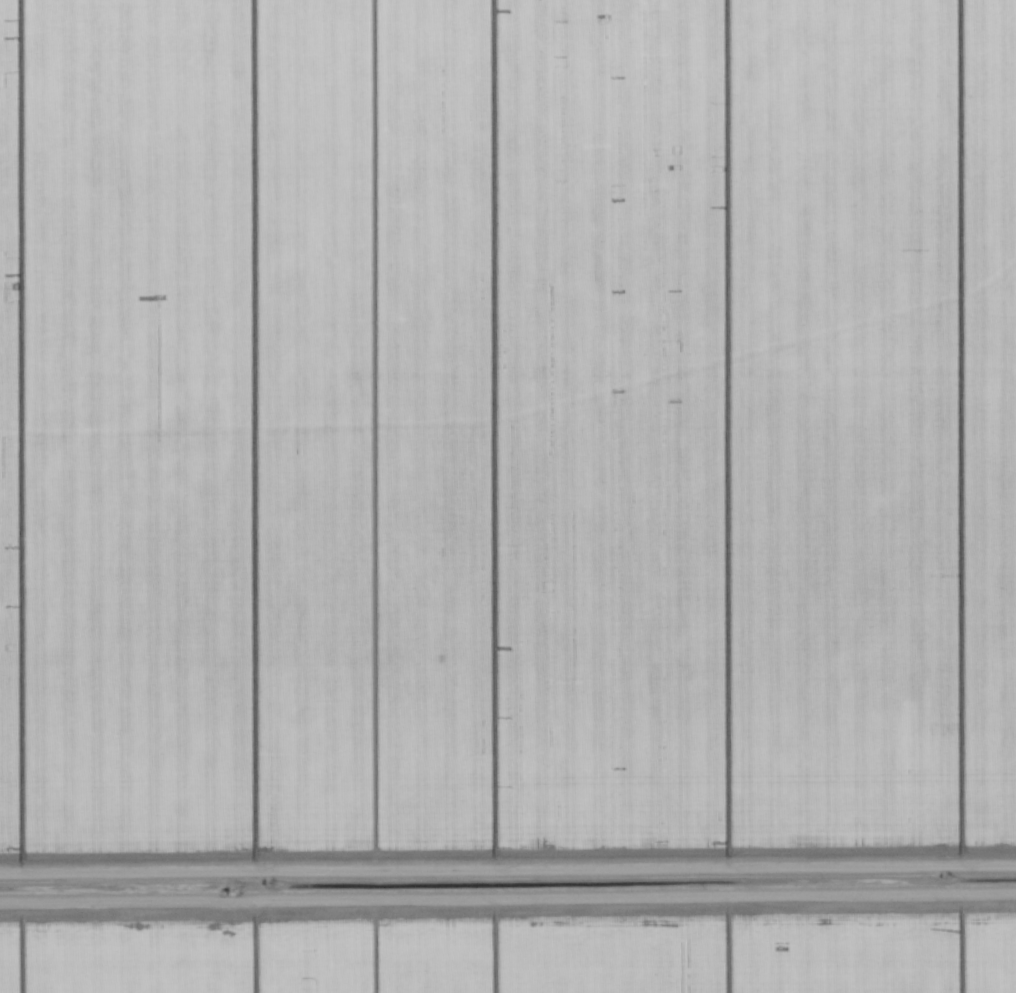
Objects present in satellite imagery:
crop: (508, 496)

